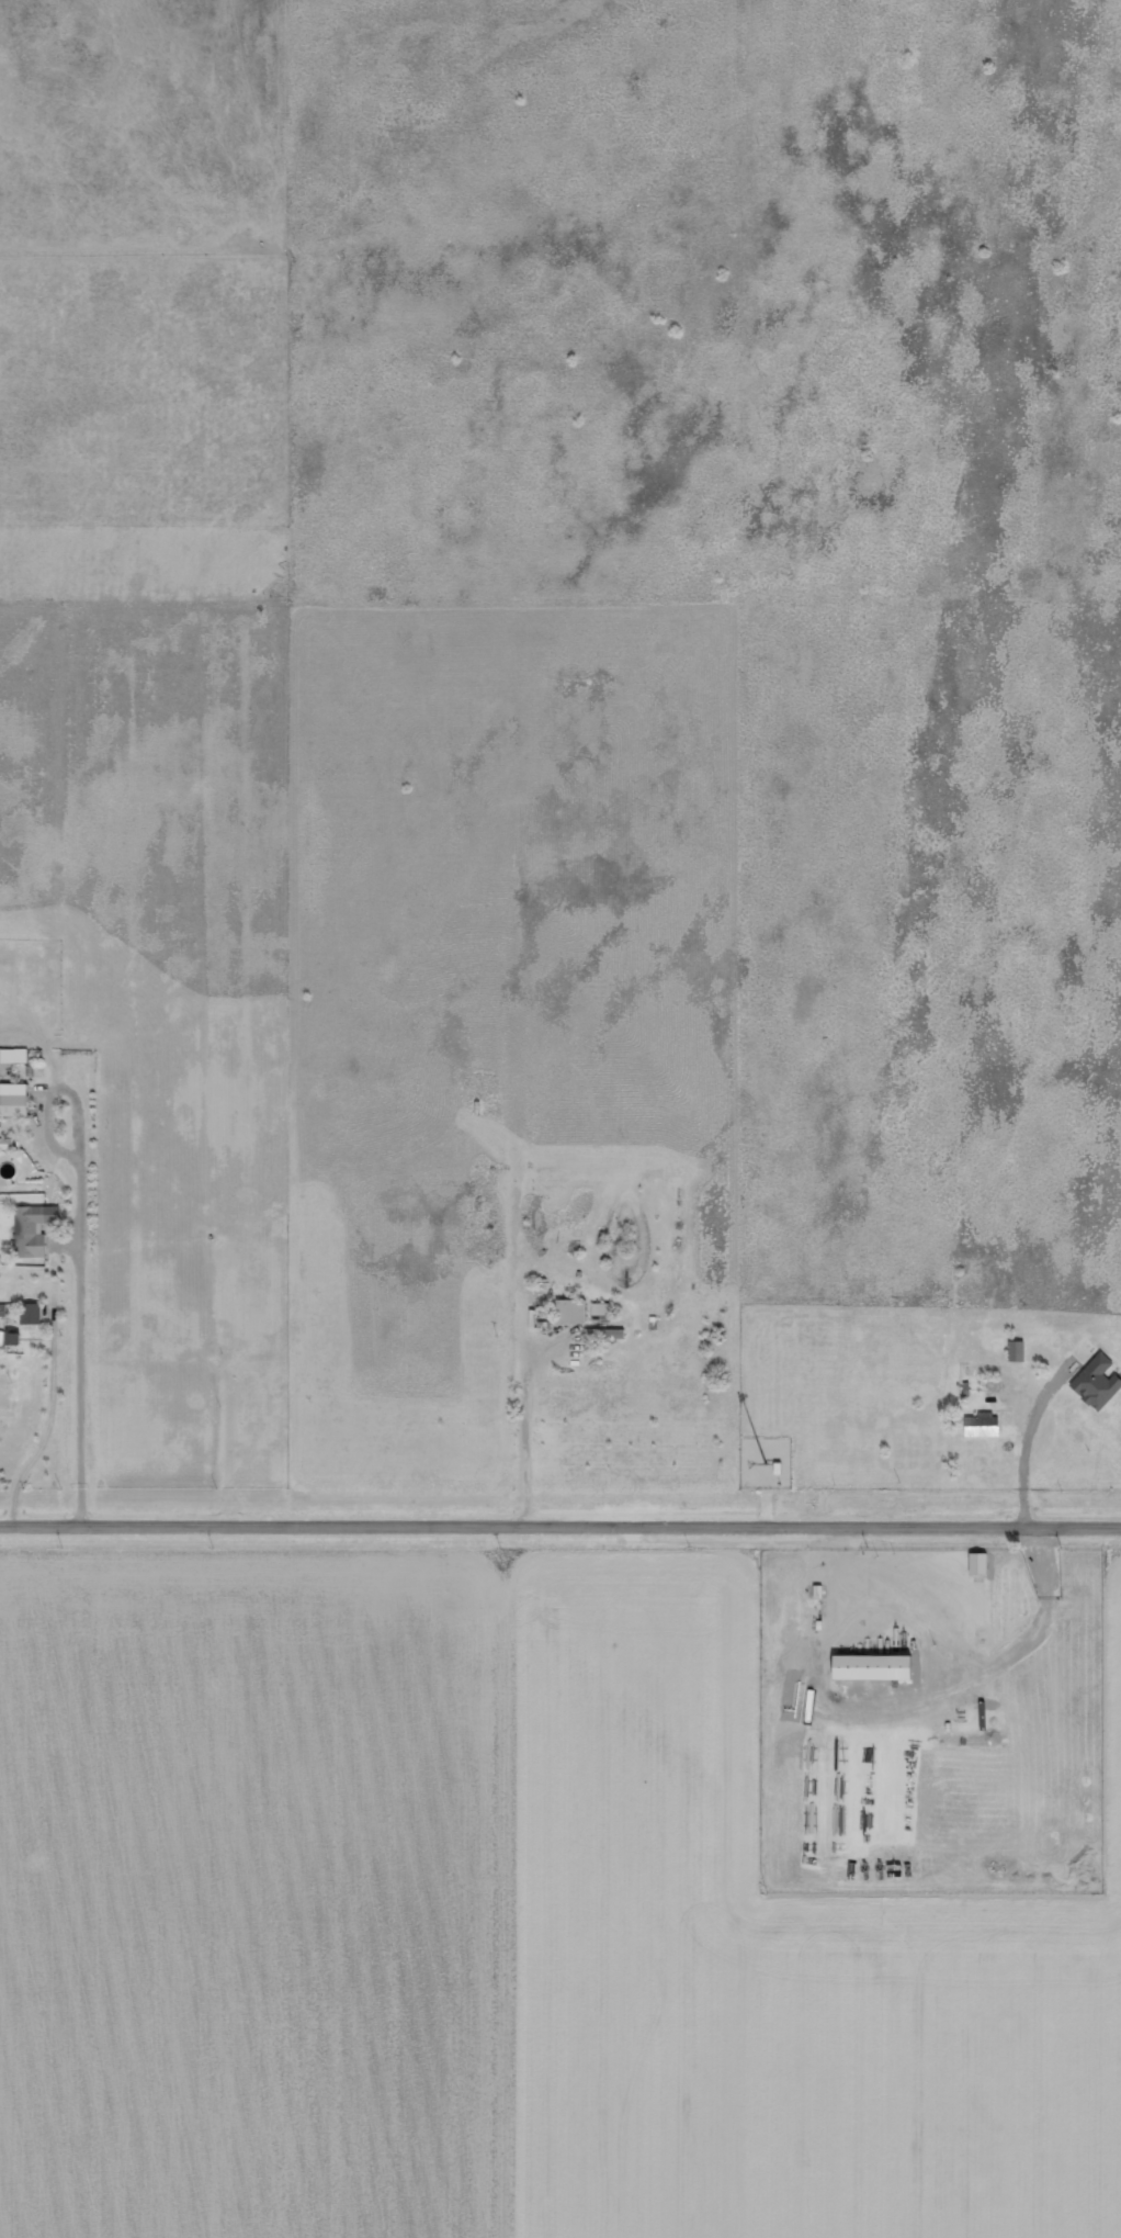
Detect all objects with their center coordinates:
road: (768, 315)
building: (16, 1055)
building: (18, 1099)
building: (9, 1142)
building: (37, 1228)
building: (587, 1311)
building: (34, 1313)
building: (1015, 1349)
building: (1094, 1375)
building: (982, 1422)
road: (560, 1523)
building: (868, 1665)

